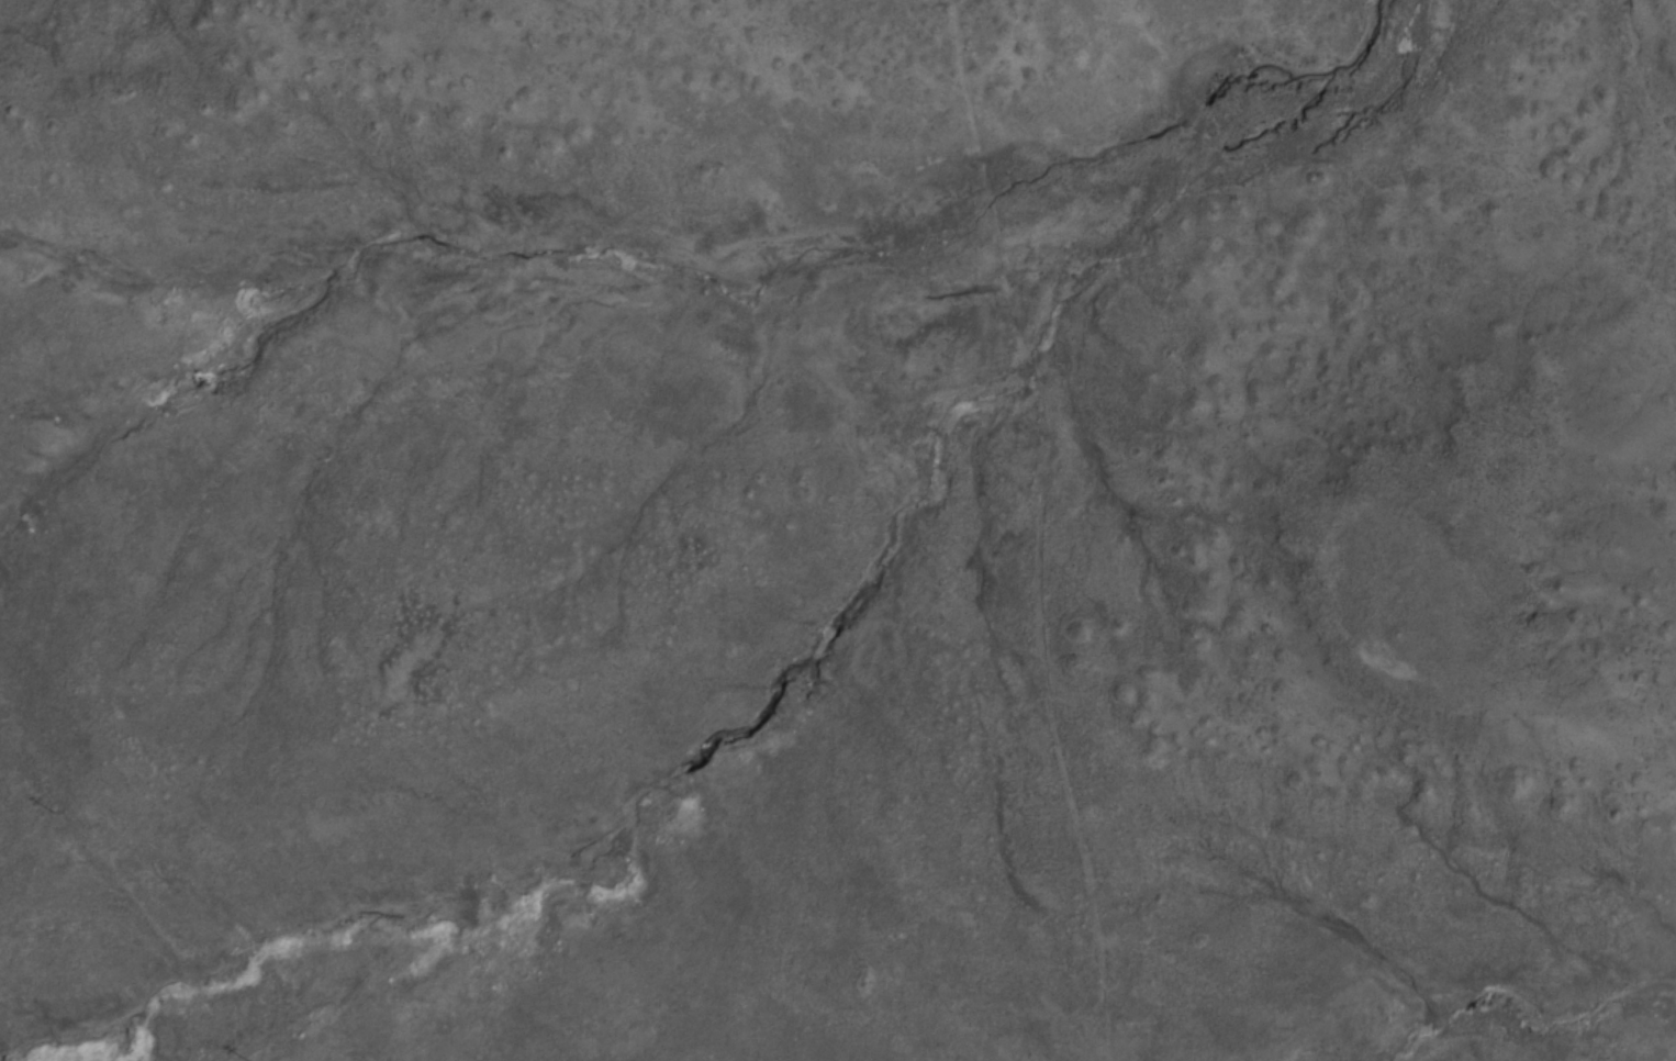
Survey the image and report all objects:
power tower: (64, 817)

